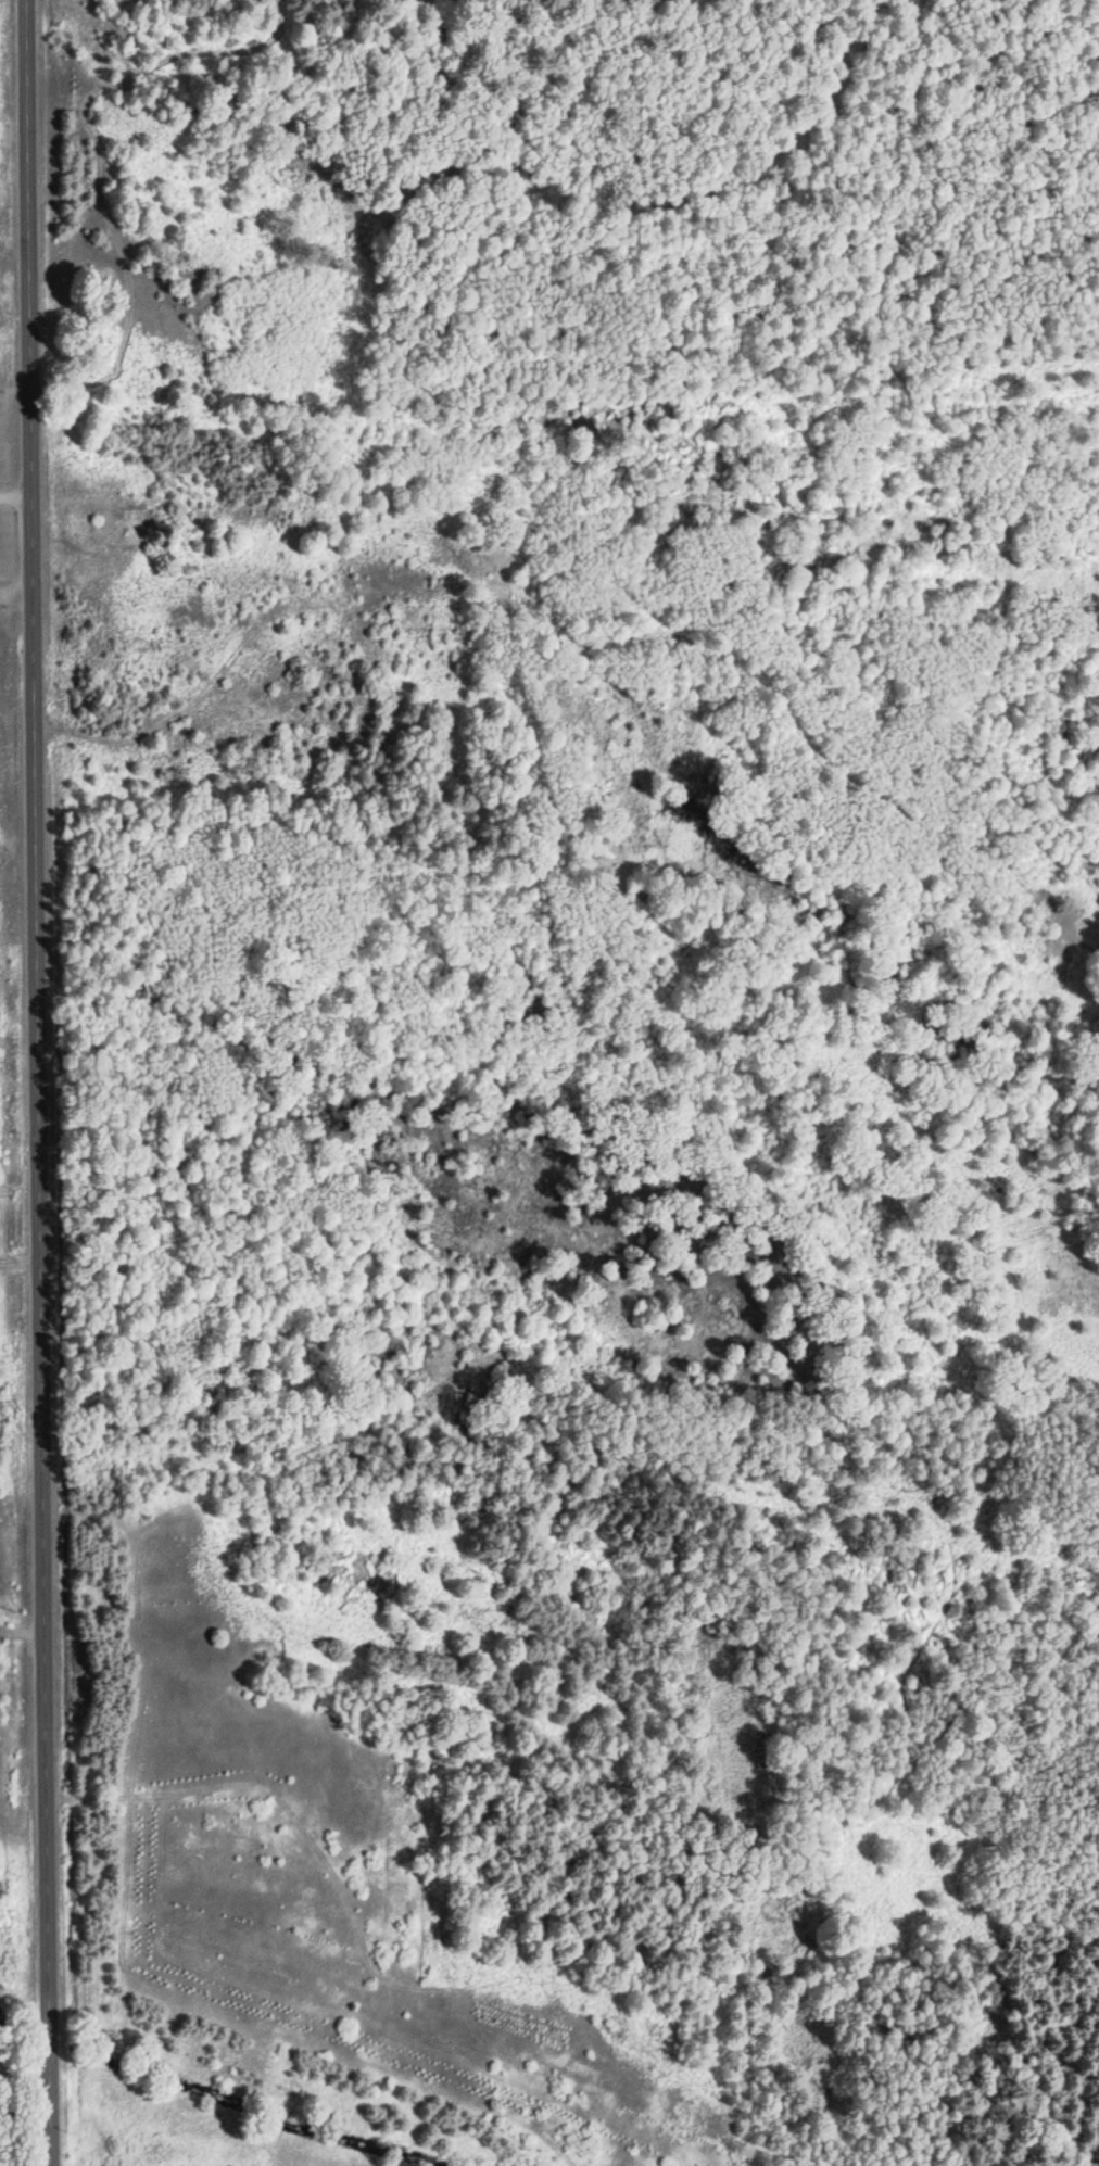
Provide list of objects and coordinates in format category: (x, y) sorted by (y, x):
road: (34, 1082)

